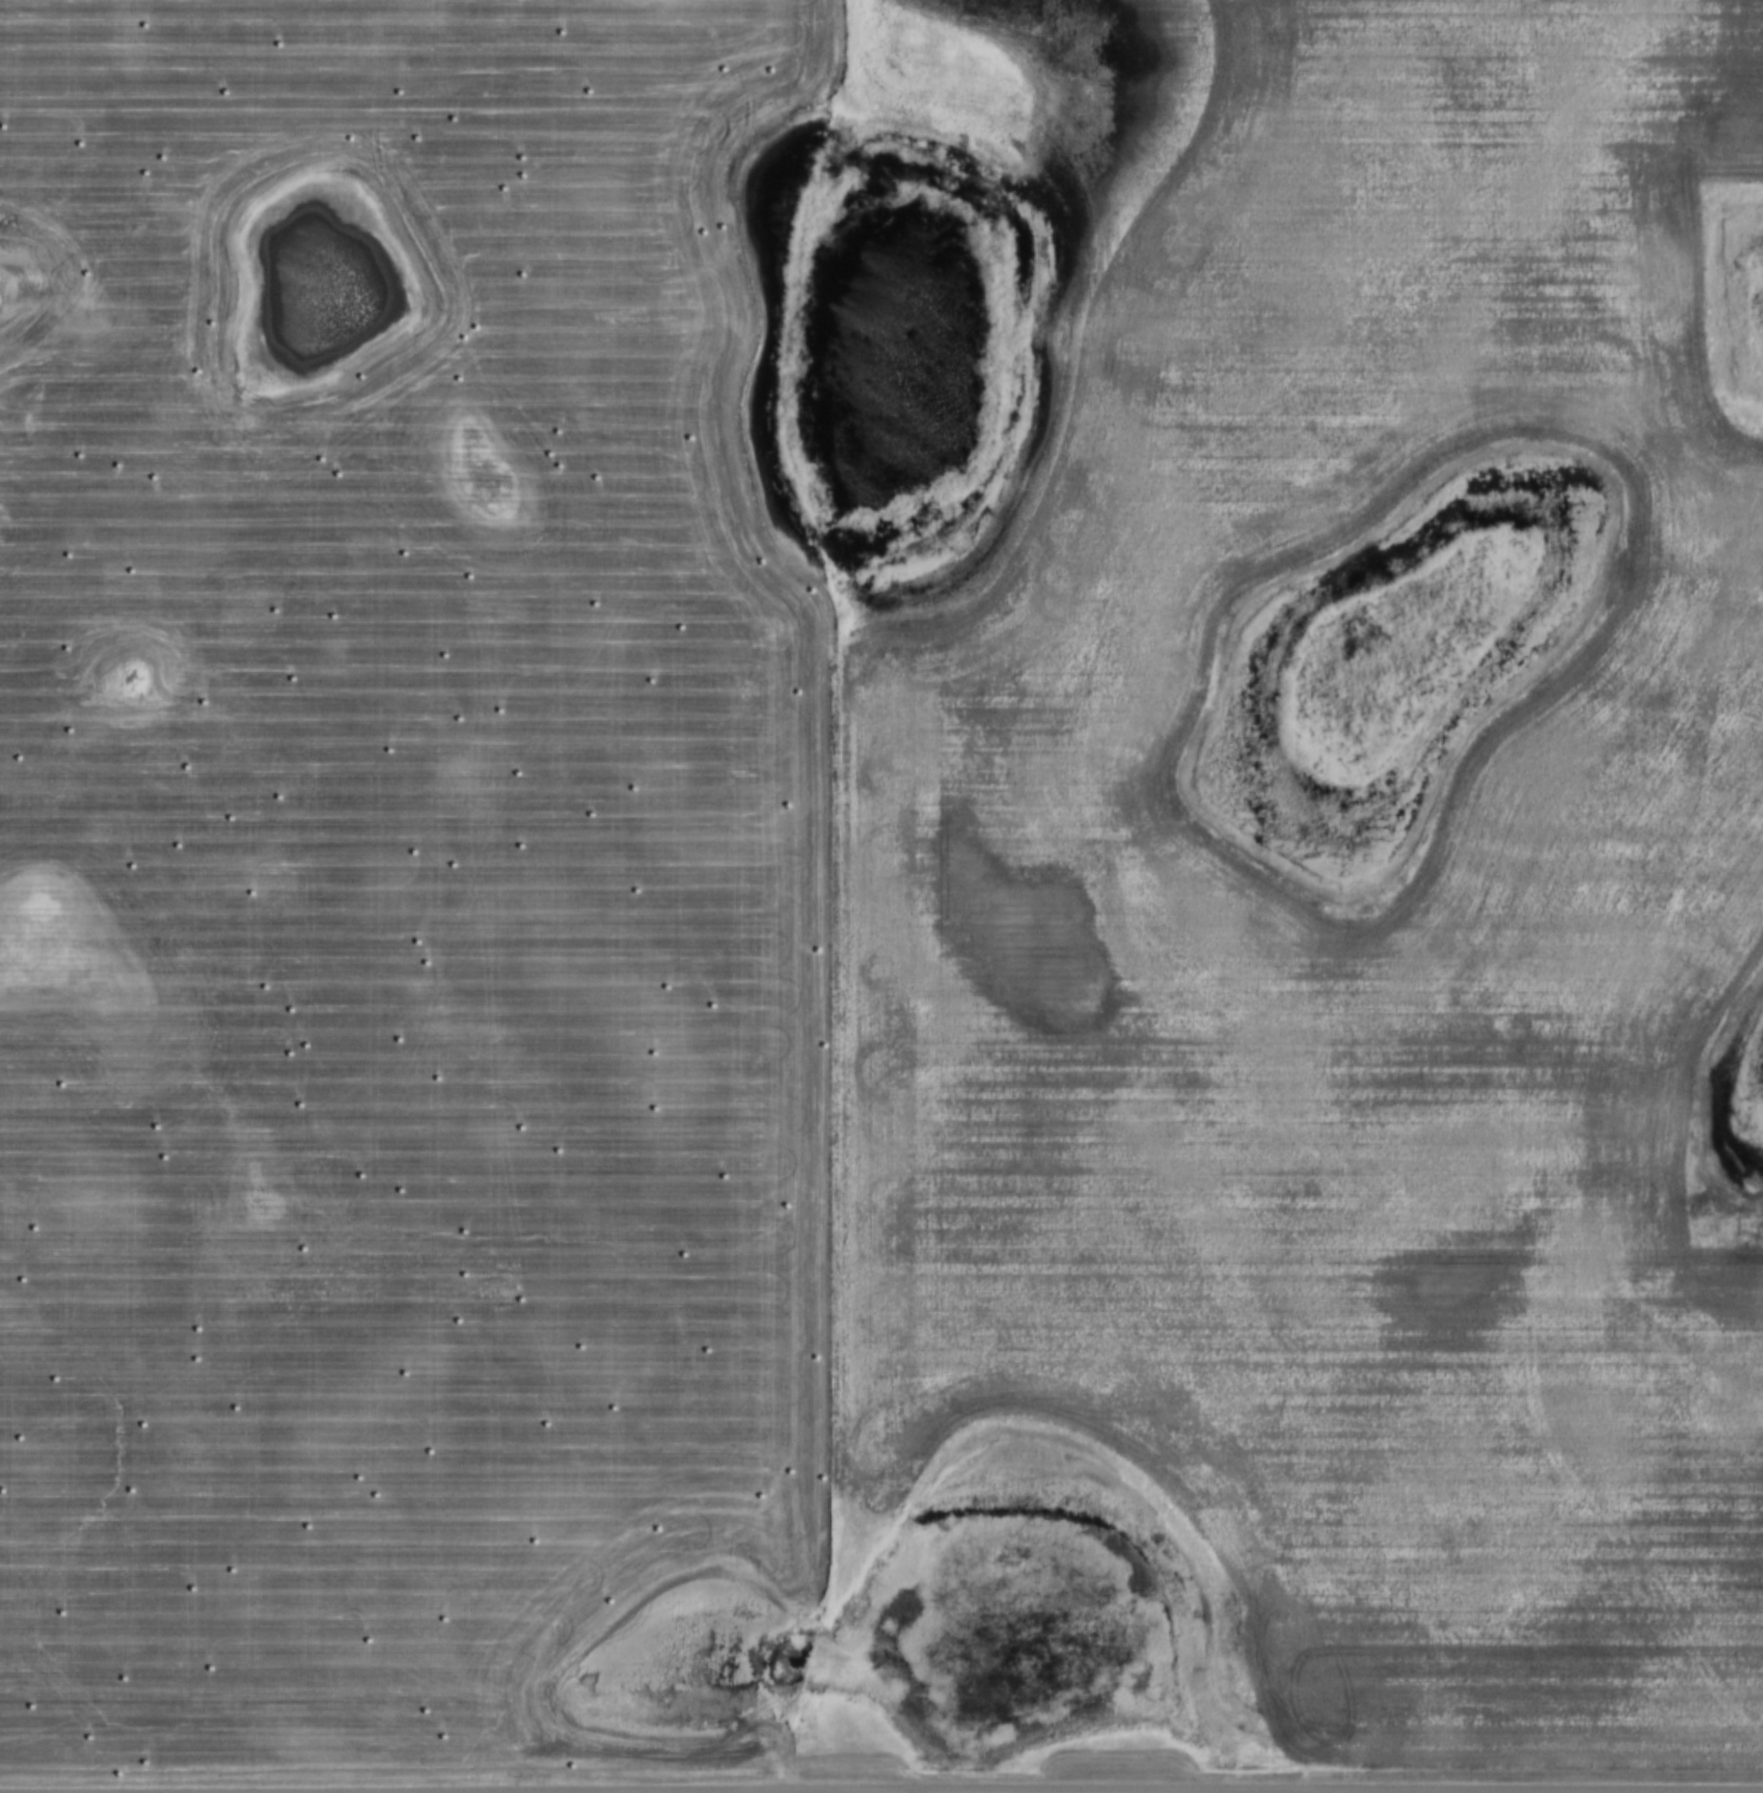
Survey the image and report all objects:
road: (221, 1792)

